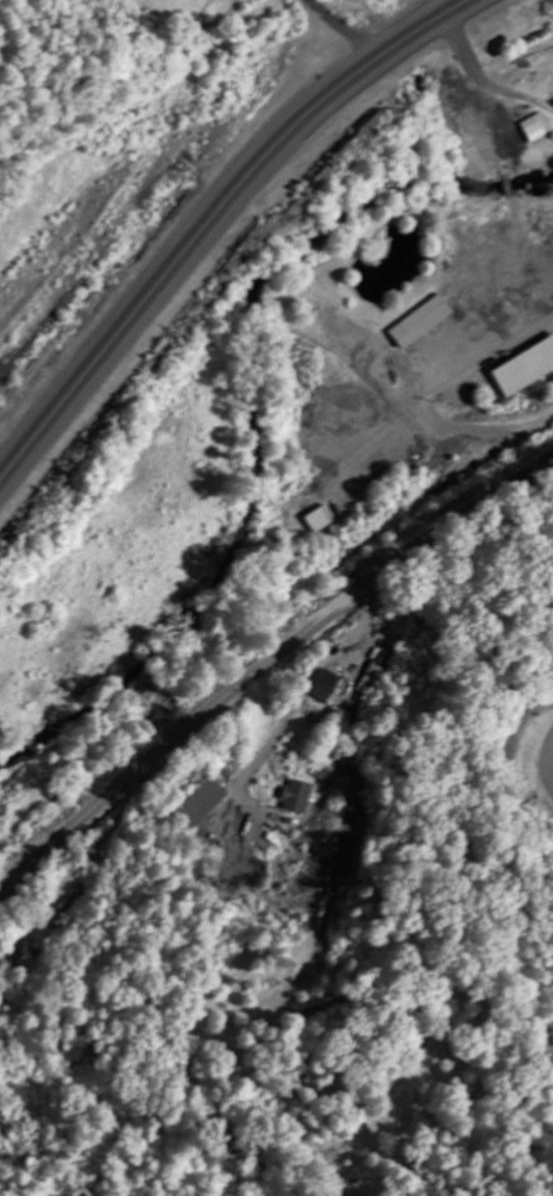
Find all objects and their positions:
building: (534, 129)
road: (212, 224)
building: (420, 324)
building: (526, 370)
building: (322, 520)
road: (266, 664)
building: (325, 687)
building: (297, 799)
building: (199, 802)

